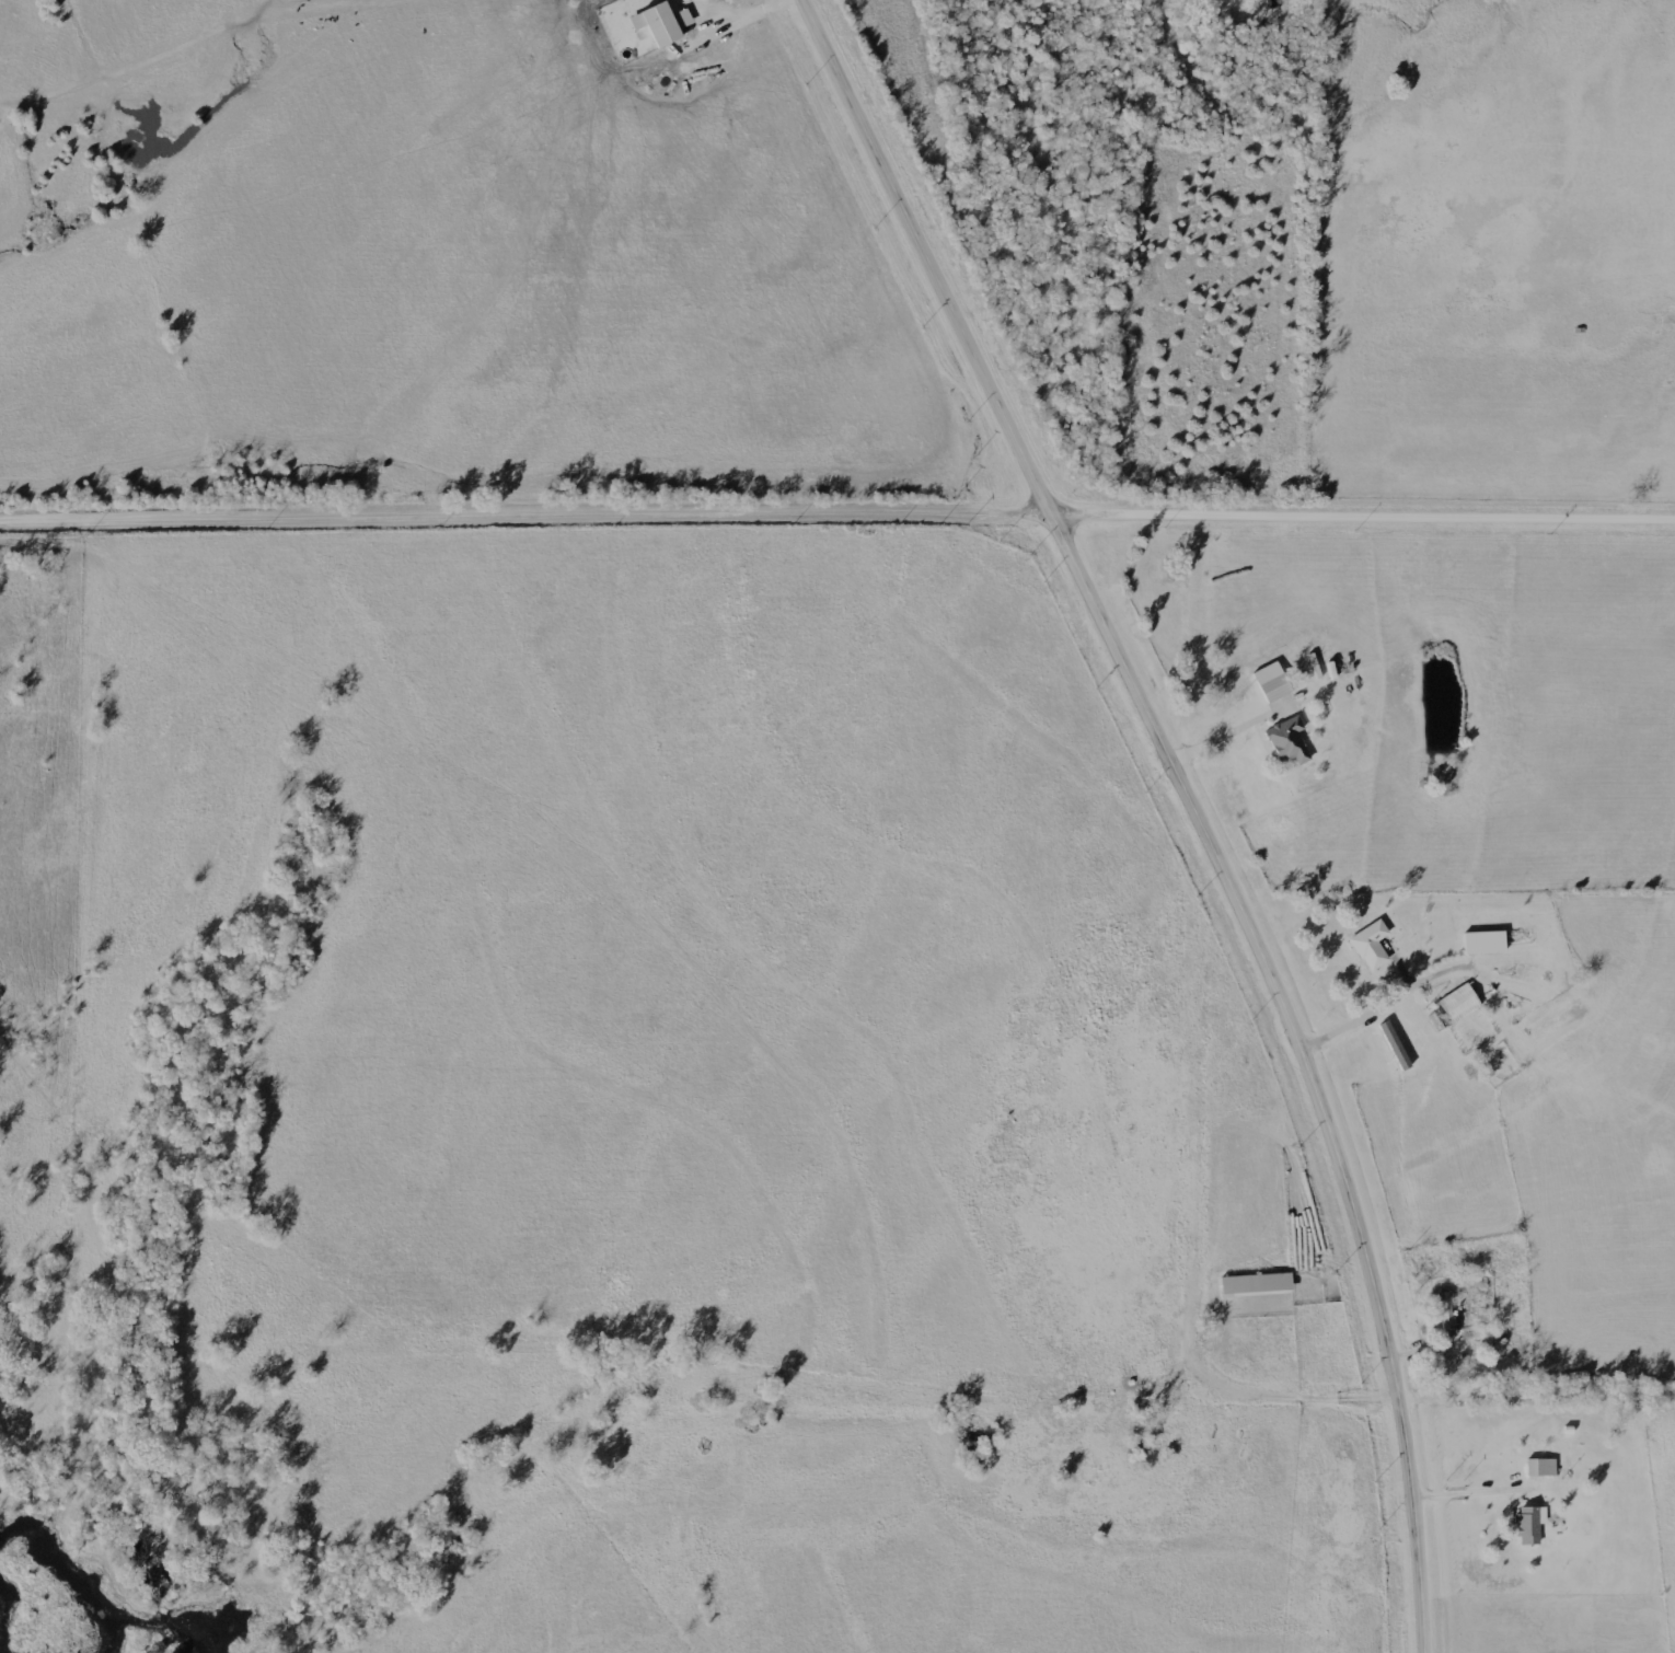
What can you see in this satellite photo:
road: (743, 16)
building: (665, 23)
road: (530, 505)
road: (1366, 507)
building: (1268, 684)
road: (1217, 733)
building: (1284, 743)
road: (1194, 806)
building: (1480, 946)
building: (1367, 948)
road: (1381, 1003)
building: (1456, 1006)
building: (1397, 1045)
building: (1251, 1287)
building: (1443, 1316)
road: (1304, 1368)
building: (1536, 1470)
building: (1524, 1528)

